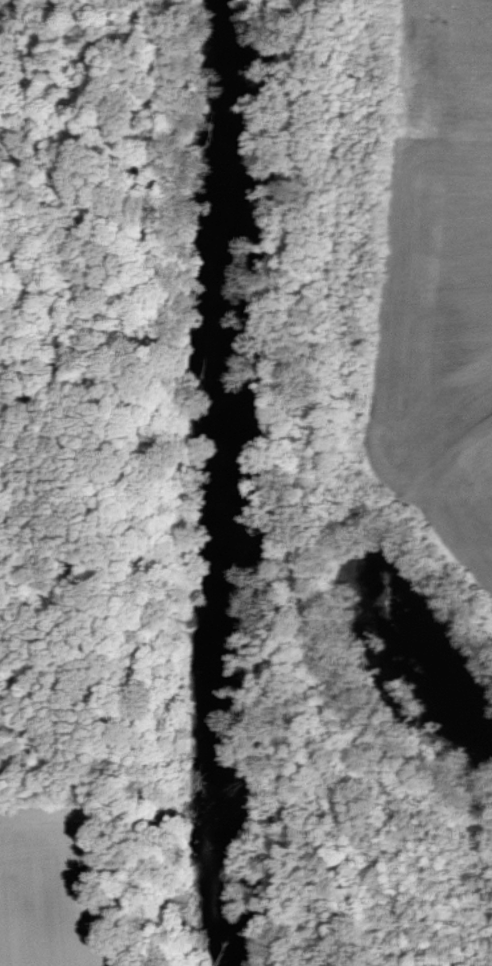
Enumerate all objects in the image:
road: (474, 430)
river: (214, 483)

